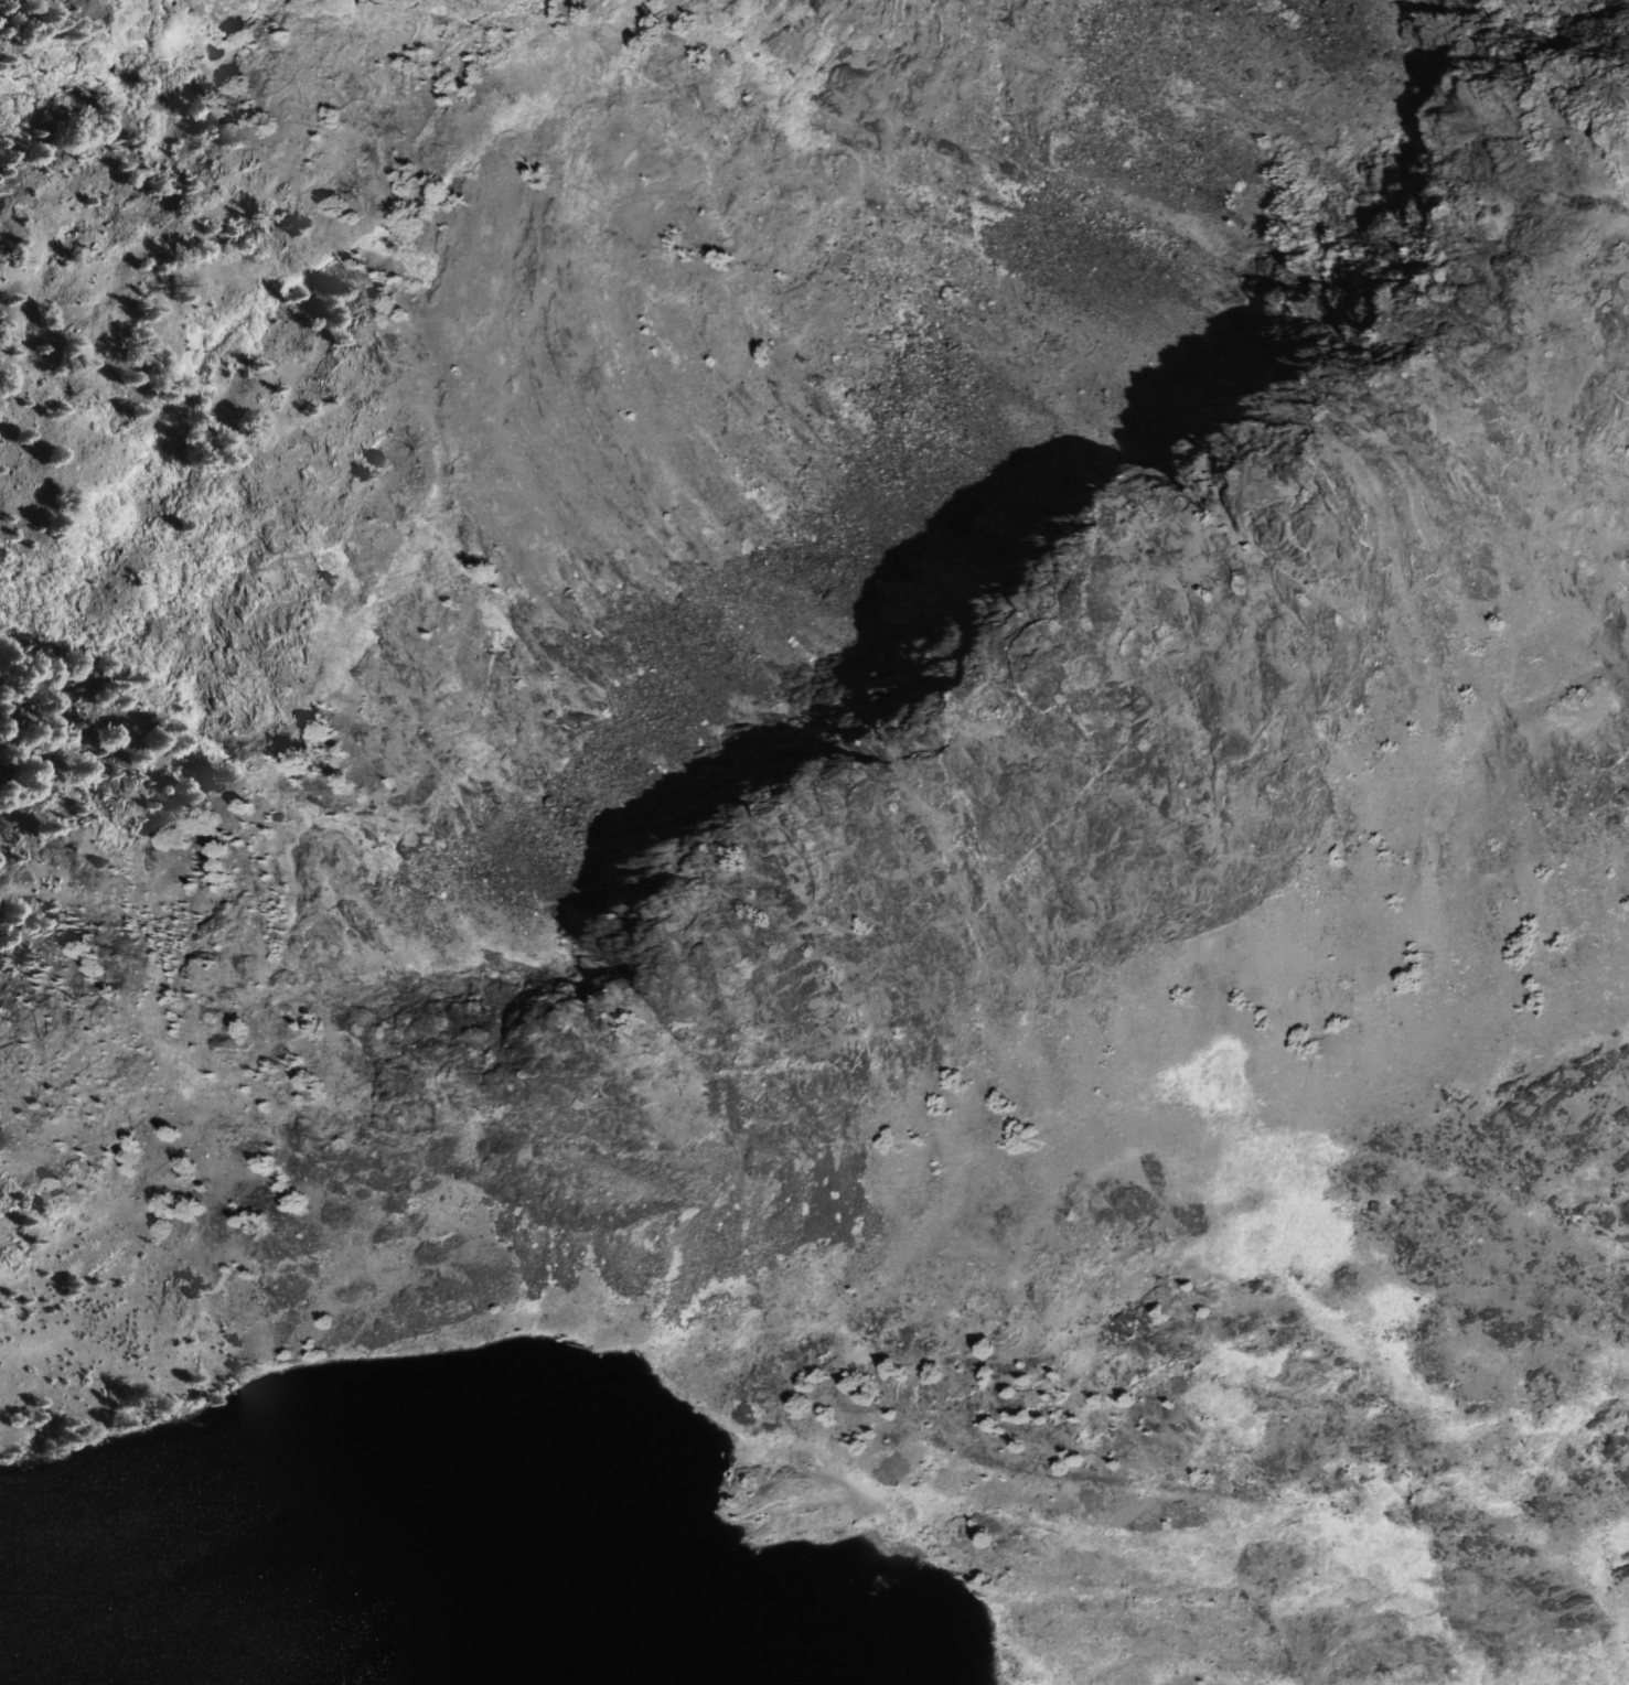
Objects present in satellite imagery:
road: (468, 491)
road: (464, 1338)

